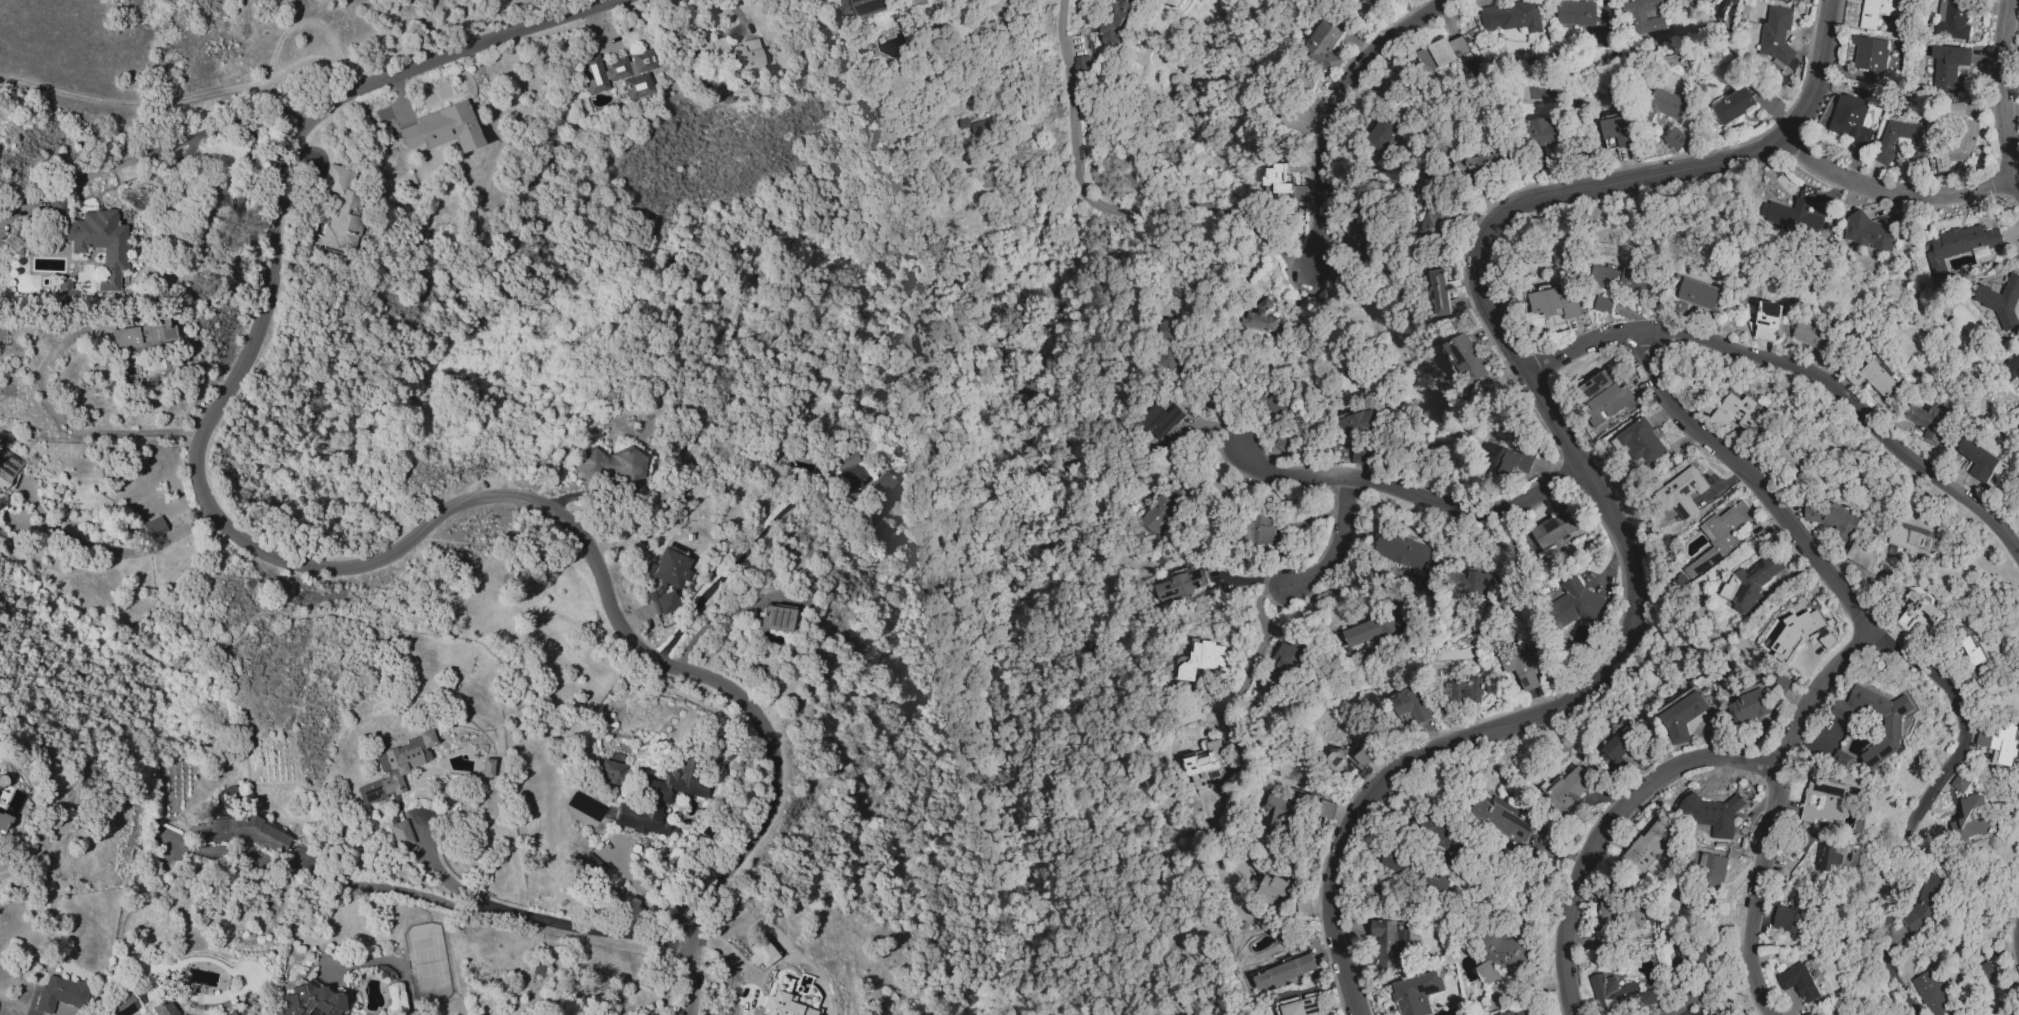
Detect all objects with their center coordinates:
building: (1800, 0)
building: (854, 8)
building: (1362, 8)
building: (1878, 11)
building: (1511, 17)
building: (1637, 17)
building: (1952, 19)
building: (1583, 21)
building: (1776, 35)
building: (1322, 43)
building: (727, 53)
building: (1441, 53)
building: (1871, 57)
building: (1081, 64)
building: (1948, 67)
building: (617, 73)
road: (2005, 91)
road: (186, 94)
building: (1668, 104)
building: (1732, 106)
road: (1334, 114)
building: (1296, 118)
building: (1850, 120)
building: (981, 127)
building: (442, 128)
building: (1616, 129)
building: (1541, 133)
building: (1382, 134)
building: (1675, 139)
building: (1956, 142)
building: (1886, 149)
road: (154, 152)
building: (1486, 163)
building: (1283, 183)
road: (1898, 190)
building: (218, 195)
building: (341, 210)
road: (1102, 213)
building: (1791, 216)
building: (1433, 225)
building: (1868, 231)
building: (95, 238)
building: (1966, 242)
building: (1626, 281)
building: (65, 291)
building: (1441, 292)
building: (1697, 293)
building: (1325, 298)
building: (2001, 301)
building: (1552, 303)
building: (1603, 305)
building: (1768, 321)
road: (871, 325)
building: (1814, 336)
building: (1166, 350)
building: (1466, 357)
building: (2012, 369)
road: (1800, 371)
building: (1875, 381)
building: (1610, 400)
building: (1269, 406)
building: (1738, 407)
building: (1161, 419)
road: (65, 422)
building: (1359, 423)
building: (1918, 423)
building: (1283, 443)
building: (1639, 445)
building: (1362, 455)
building: (1788, 457)
building: (844, 459)
building: (1976, 459)
building: (1515, 461)
road: (1577, 464)
building: (7, 466)
building: (613, 466)
building: (877, 485)
building: (1681, 495)
road: (1412, 500)
building: (2018, 505)
building: (1162, 509)
building: (1831, 520)
building: (153, 526)
building: (1555, 529)
building: (1258, 530)
building: (1721, 535)
building: (1909, 542)
road: (1331, 554)
building: (1405, 556)
building: (1861, 557)
road: (736, 561)
road: (323, 567)
building: (668, 567)
road: (1825, 573)
road: (491, 575)
building: (1181, 583)
building: (1473, 583)
building: (1754, 585)
building: (1573, 603)
building: (1918, 612)
building: (775, 618)
building: (1368, 630)
building: (1803, 633)
road: (1262, 641)
building: (1968, 653)
building: (1202, 659)
building: (1520, 666)
building: (1280, 667)
building: (1780, 684)
building: (1465, 690)
building: (1411, 705)
building: (1749, 706)
building: (1682, 715)
building: (1892, 730)
building: (1998, 738)
building: (1616, 746)
building: (1348, 759)
building: (1841, 759)
building: (1208, 764)
building: (395, 767)
building: (486, 767)
building: (611, 769)
building: (0, 778)
building: (1961, 782)
building: (1567, 787)
building: (657, 799)
building: (1822, 804)
building: (1326, 810)
road: (1768, 810)
building: (1276, 812)
building: (1714, 814)
building: (1501, 818)
building: (1970, 819)
building: (3, 822)
road: (1606, 829)
building: (400, 833)
building: (1646, 849)
building: (1826, 857)
building: (1397, 862)
building: (591, 866)
building: (1712, 870)
building: (1431, 880)
road: (385, 886)
building: (1271, 888)
road: (648, 896)
building: (1925, 903)
building: (1608, 912)
building: (1793, 914)
road: (539, 917)
building: (1634, 917)
building: (1503, 943)
building: (1387, 946)
building: (761, 953)
road: (731, 966)
building: (1284, 972)
building: (1487, 972)
road: (1894, 974)
building: (1988, 974)
building: (1798, 982)
building: (60, 993)
building: (1416, 993)
building: (1931, 993)
building: (1620, 994)
building: (311, 1000)
building: (782, 1001)
building: (122, 1005)
building: (163, 1007)
building: (1304, 1007)
building: (1508, 1012)
building: (229, 1013)
building: (2015, 1014)

